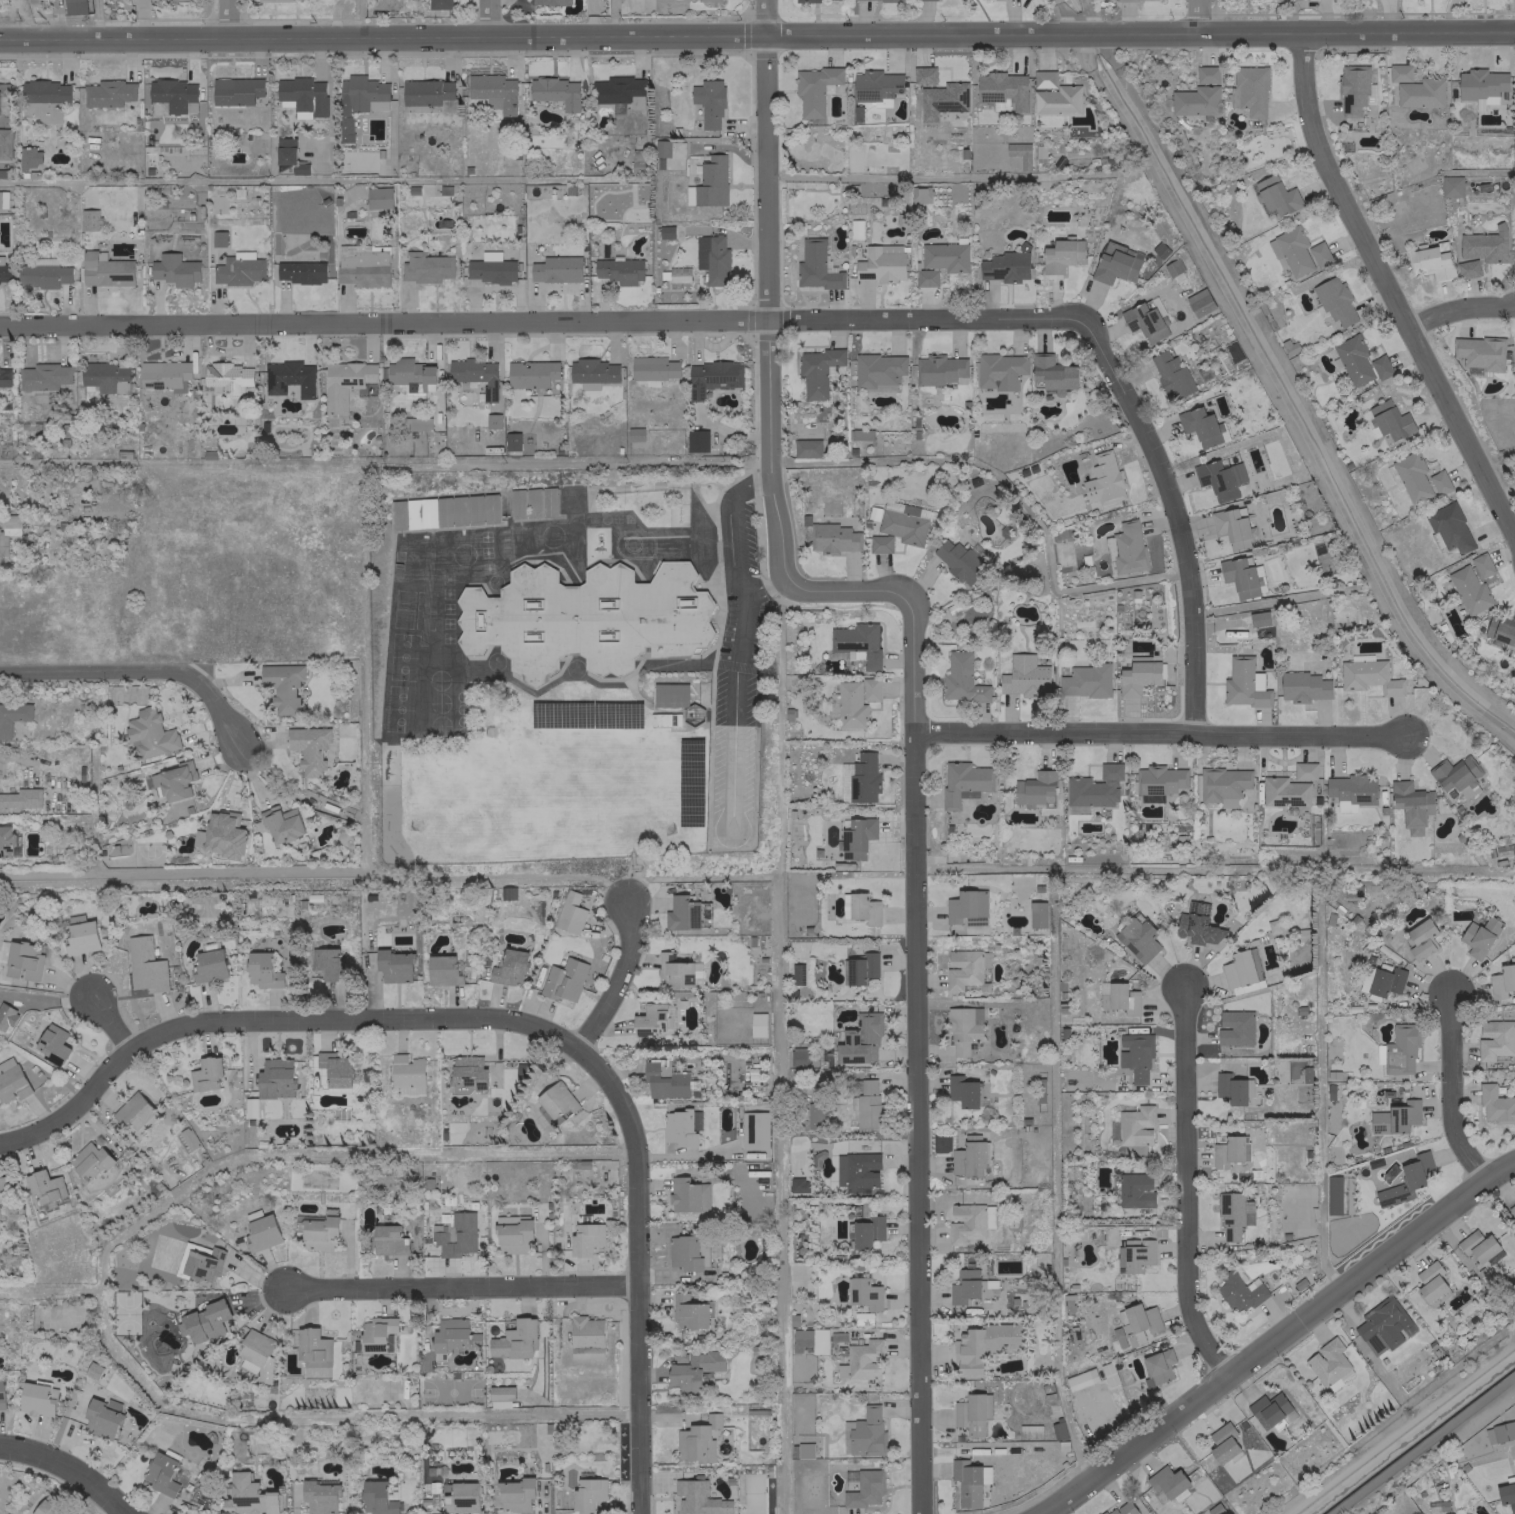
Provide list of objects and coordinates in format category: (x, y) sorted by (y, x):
building: (177, 0)
building: (708, 0)
building: (932, 0)
building: (807, 1)
building: (550, 2)
building: (74, 7)
road: (1195, 17)
road: (487, 18)
road: (226, 19)
road: (757, 36)
building: (1206, 74)
building: (923, 75)
building: (1044, 78)
building: (875, 85)
building: (1481, 86)
building: (814, 89)
building: (1354, 89)
building: (1413, 89)
building: (236, 90)
building: (1002, 90)
building: (1248, 90)
building: (493, 91)
building: (556, 91)
building: (620, 91)
building: (426, 92)
building: (108, 93)
building: (174, 94)
building: (362, 94)
building: (303, 96)
building: (1, 98)
building: (942, 99)
building: (1058, 100)
building: (1195, 100)
building: (708, 103)
building: (5, 143)
building: (661, 148)
building: (285, 151)
building: (1019, 153)
building: (29, 157)
building: (637, 160)
building: (149, 162)
road: (933, 177)
building: (709, 183)
building: (1451, 186)
building: (920, 194)
building: (1276, 195)
building: (379, 197)
building: (3, 199)
building: (89, 219)
building: (666, 232)
building: (218, 238)
building: (1514, 247)
building: (1480, 250)
building: (1297, 251)
building: (1061, 255)
building: (945, 256)
building: (712, 258)
building: (1430, 260)
building: (881, 263)
building: (1115, 263)
building: (363, 265)
building: (1006, 265)
building: (816, 266)
building: (425, 267)
building: (491, 268)
building: (238, 269)
building: (556, 269)
building: (105, 270)
building: (174, 270)
building: (619, 270)
building: (4, 272)
building: (301, 272)
building: (42, 273)
building: (678, 274)
building: (925, 277)
road: (1386, 280)
building: (1334, 301)
road: (1460, 306)
road: (538, 320)
building: (1145, 320)
building: (1514, 350)
building: (1480, 352)
building: (1352, 359)
building: (1380, 367)
building: (652, 369)
building: (939, 369)
building: (817, 370)
building: (878, 371)
building: (999, 371)
building: (593, 372)
building: (1053, 372)
building: (531, 373)
building: (410, 374)
building: (475, 374)
building: (1170, 374)
building: (164, 375)
building: (4, 376)
building: (44, 376)
building: (106, 376)
building: (228, 377)
building: (711, 377)
building: (289, 378)
building: (344, 383)
building: (1388, 420)
building: (492, 421)
building: (416, 424)
building: (1200, 427)
building: (635, 434)
building: (861, 434)
building: (696, 440)
building: (511, 441)
building: (806, 447)
building: (1412, 477)
building: (1219, 479)
building: (1103, 481)
building: (1439, 482)
road: (748, 483)
building: (532, 503)
road: (1173, 515)
building: (898, 526)
building: (1449, 527)
building: (1231, 528)
building: (7, 531)
building: (833, 538)
building: (1126, 548)
building: (960, 561)
building: (1481, 565)
building: (1239, 576)
road: (765, 586)
building: (1469, 590)
building: (586, 618)
building: (1259, 618)
building: (1500, 629)
building: (857, 643)
road: (137, 670)
building: (1138, 675)
building: (1368, 677)
building: (961, 679)
building: (1025, 680)
building: (1085, 681)
building: (1244, 684)
building: (282, 686)
building: (1303, 686)
building: (870, 689)
building: (669, 694)
road: (733, 700)
road: (911, 701)
building: (850, 706)
building: (12, 716)
road: (1157, 732)
building: (150, 733)
building: (309, 748)
building: (1304, 771)
building: (1456, 775)
building: (859, 779)
building: (171, 781)
building: (963, 782)
building: (1158, 782)
building: (1224, 785)
building: (1093, 789)
building: (1350, 791)
building: (1284, 792)
building: (21, 798)
building: (1411, 805)
building: (281, 824)
building: (221, 836)
building: (856, 837)
building: (6, 840)
building: (966, 907)
building: (863, 908)
building: (569, 913)
building: (682, 913)
building: (1036, 914)
building: (1197, 925)
building: (1272, 926)
building: (80, 935)
building: (1479, 936)
building: (1138, 939)
building: (1421, 939)
building: (3, 951)
building: (23, 961)
building: (328, 962)
building: (145, 965)
building: (208, 966)
building: (394, 966)
building: (510, 967)
building: (859, 968)
building: (962, 969)
building: (1238, 969)
building: (261, 970)
building: (443, 970)
building: (674, 971)
building: (797, 974)
road: (616, 979)
building: (564, 980)
building: (1381, 980)
building: (1502, 981)
building: (1118, 997)
road: (271, 1019)
road: (109, 1023)
building: (757, 1024)
building: (1235, 1027)
building: (963, 1029)
building: (859, 1038)
building: (1496, 1040)
building: (53, 1044)
building: (1400, 1049)
building: (798, 1056)
building: (1135, 1056)
building: (335, 1068)
building: (468, 1071)
building: (406, 1073)
building: (206, 1074)
building: (275, 1077)
building: (664, 1079)
building: (11, 1081)
building: (1230, 1088)
building: (962, 1091)
road: (1452, 1091)
building: (556, 1103)
building: (867, 1104)
building: (1495, 1106)
building: (250, 1108)
building: (133, 1111)
building: (1394, 1118)
building: (1135, 1125)
building: (682, 1127)
building: (754, 1130)
building: (186, 1140)
building: (1227, 1151)
road: (281, 1154)
building: (969, 1156)
building: (89, 1161)
building: (857, 1171)
building: (1406, 1180)
building: (3, 1184)
building: (799, 1184)
building: (45, 1186)
road: (1186, 1189)
building: (1135, 1190)
building: (687, 1195)
building: (1332, 1195)
building: (1511, 1211)
building: (1232, 1214)
building: (969, 1222)
building: (260, 1230)
building: (317, 1230)
building: (867, 1231)
building: (514, 1236)
building: (586, 1239)
building: (388, 1240)
building: (1477, 1245)
building: (684, 1252)
building: (1135, 1254)
building: (200, 1261)
road: (636, 1271)
building: (1430, 1281)
road: (460, 1286)
building: (964, 1286)
building: (1239, 1292)
building: (864, 1293)
building: (688, 1312)
building: (204, 1321)
building: (1138, 1323)
building: (1383, 1326)
building: (376, 1333)
building: (453, 1334)
building: (586, 1337)
building: (1118, 1337)
road: (1278, 1337)
building: (514, 1340)
building: (809, 1340)
building: (983, 1345)
building: (313, 1347)
building: (257, 1352)
building: (863, 1359)
building: (1329, 1364)
building: (1159, 1365)
building: (92, 1370)
building: (694, 1370)
building: (1080, 1379)
building: (1, 1393)
building: (500, 1393)
building: (35, 1398)
building: (1268, 1409)
building: (970, 1414)
building: (102, 1417)
road: (324, 1417)
building: (1500, 1432)
building: (867, 1433)
building: (697, 1440)
building: (1222, 1442)
road: (1423, 1444)
building: (805, 1450)
road: (69, 1470)
building: (161, 1473)
building: (1167, 1481)
building: (966, 1482)
building: (865, 1489)
building: (588, 1493)
building: (1507, 1493)
building: (515, 1494)
building: (247, 1496)
building: (319, 1497)
building: (463, 1497)
building: (377, 1498)
building: (699, 1498)
building: (45, 1508)
building: (1122, 1508)
road: (126, 1513)

